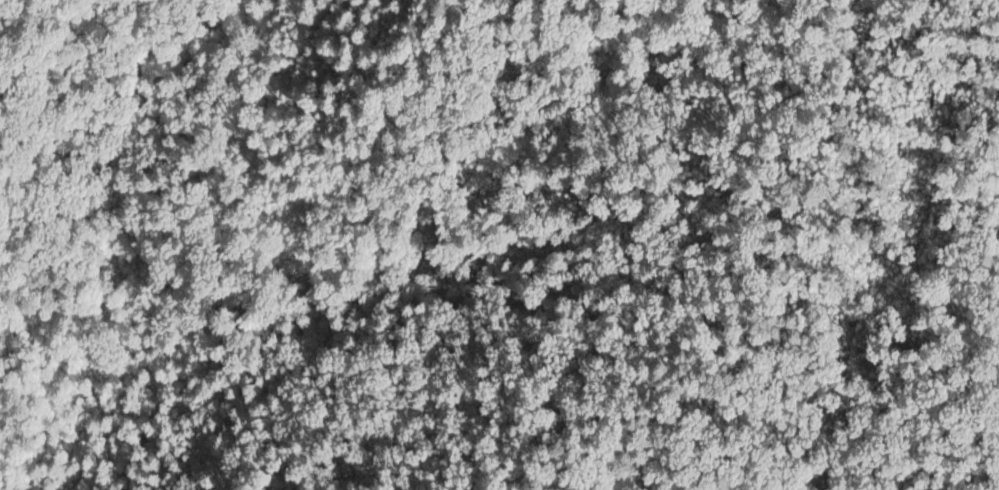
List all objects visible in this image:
road: (991, 489)

